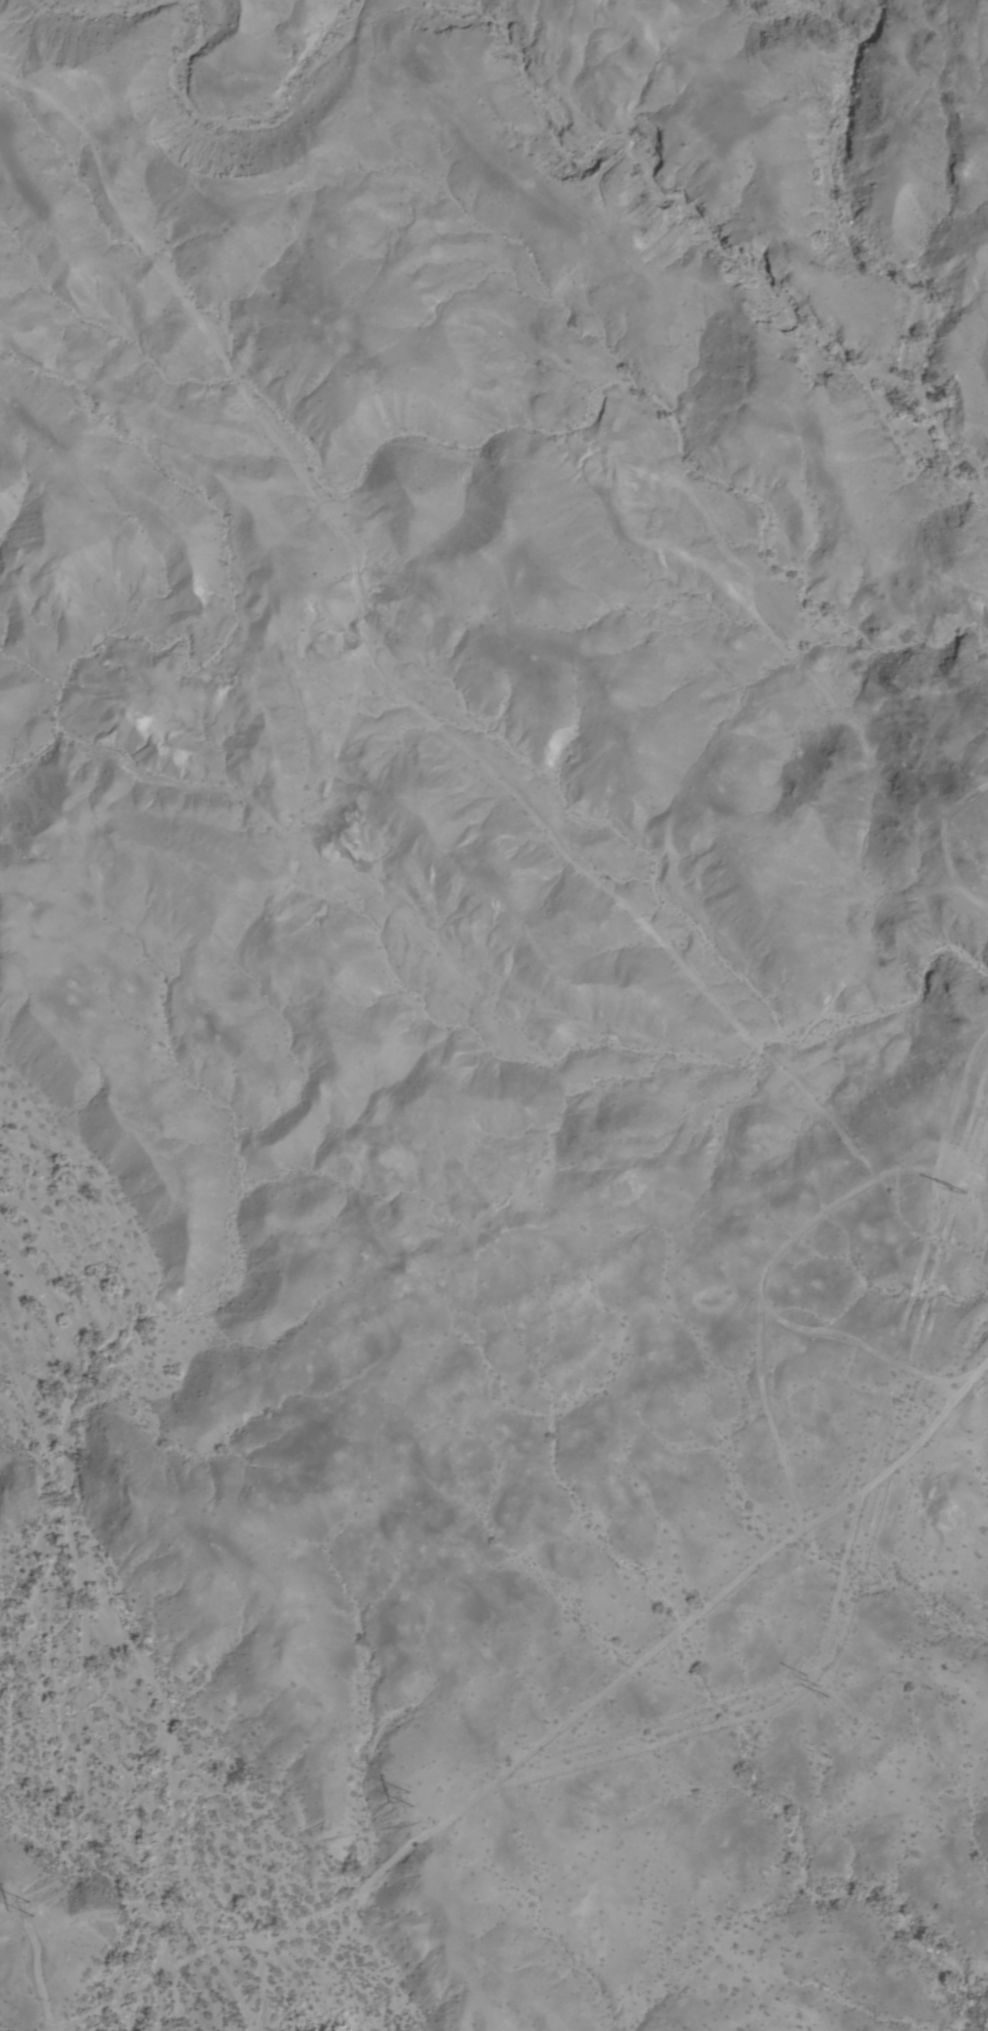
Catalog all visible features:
power tower: (959, 1190)
power tower: (821, 1682)
power tower: (411, 1801)
power tower: (29, 1910)

